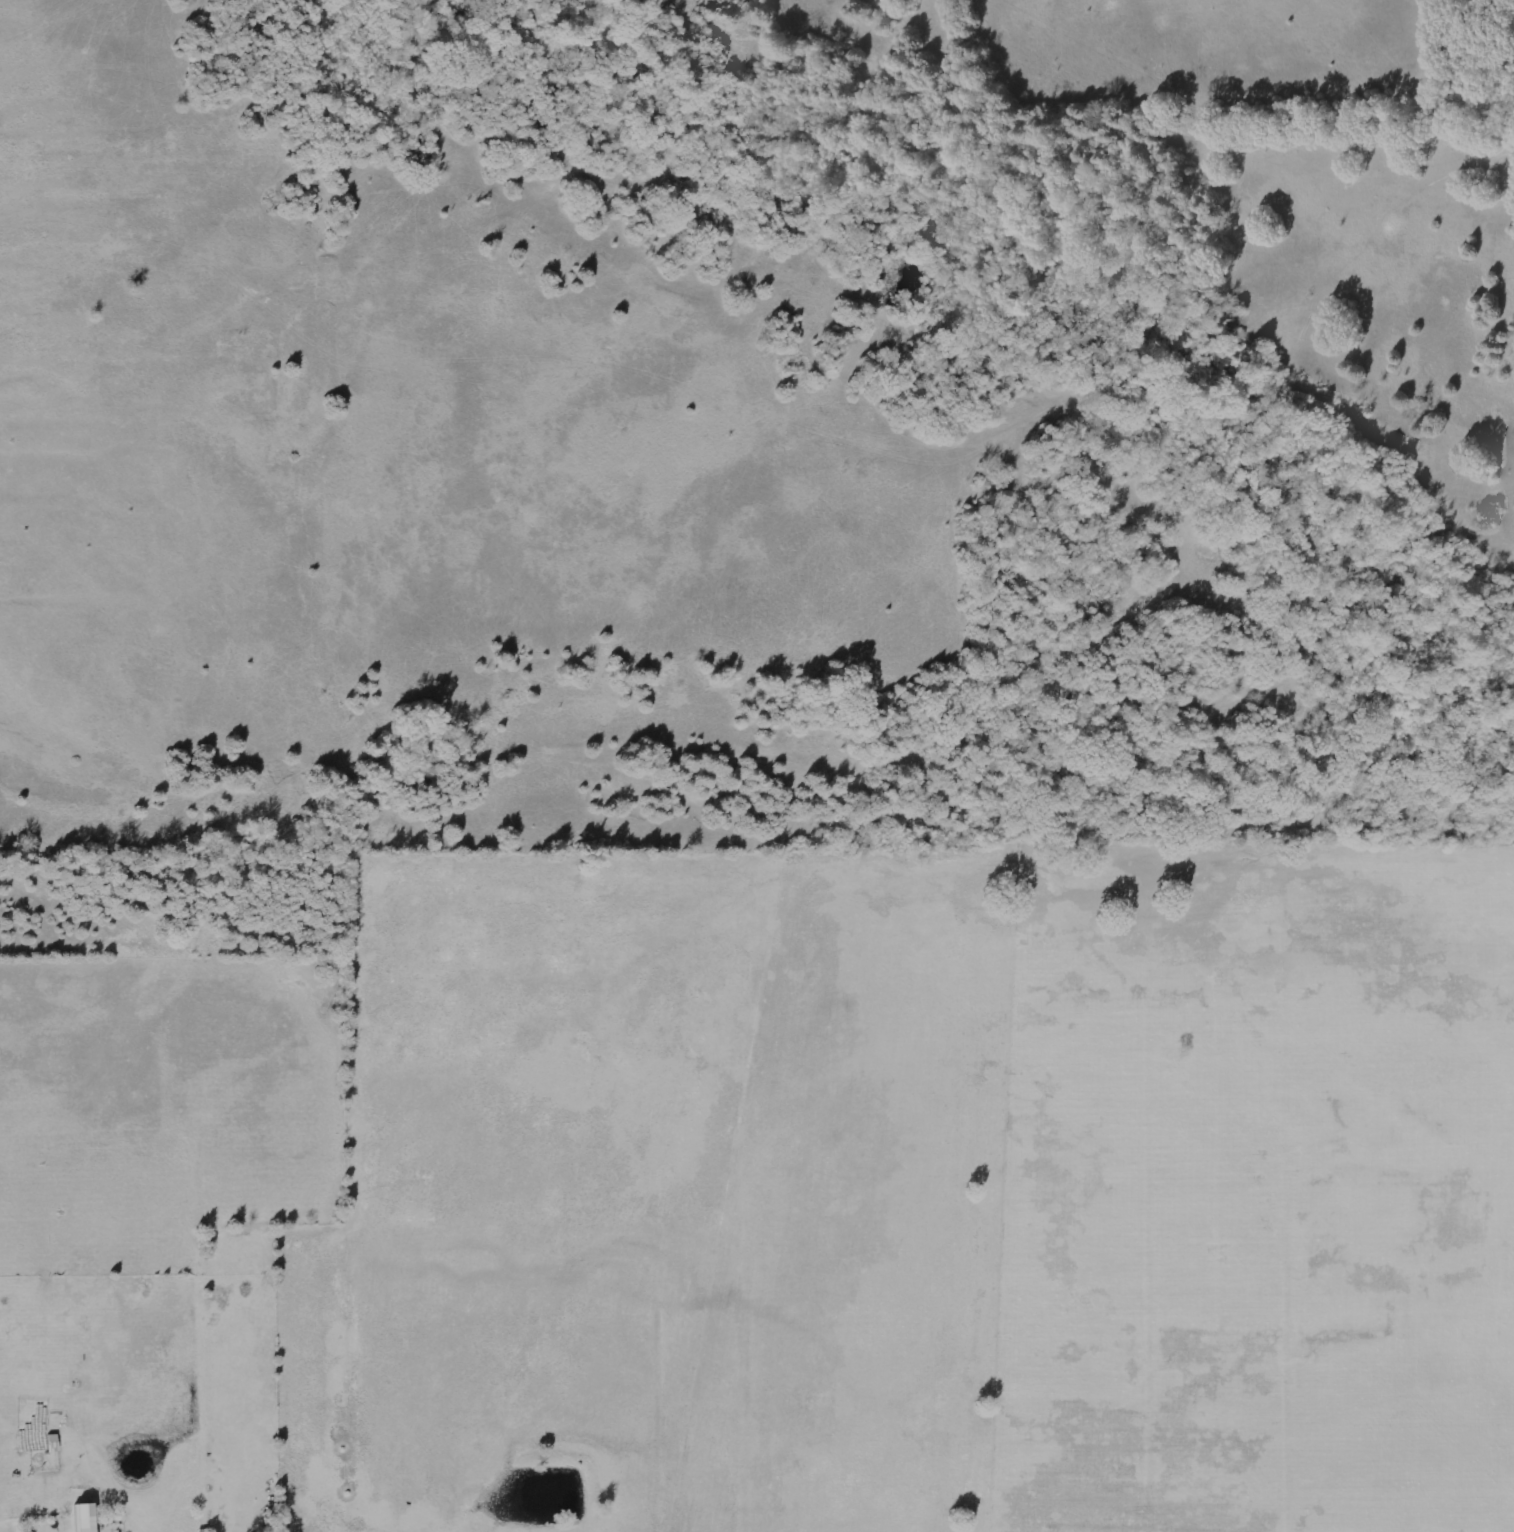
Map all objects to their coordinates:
building: (85, 1517)

